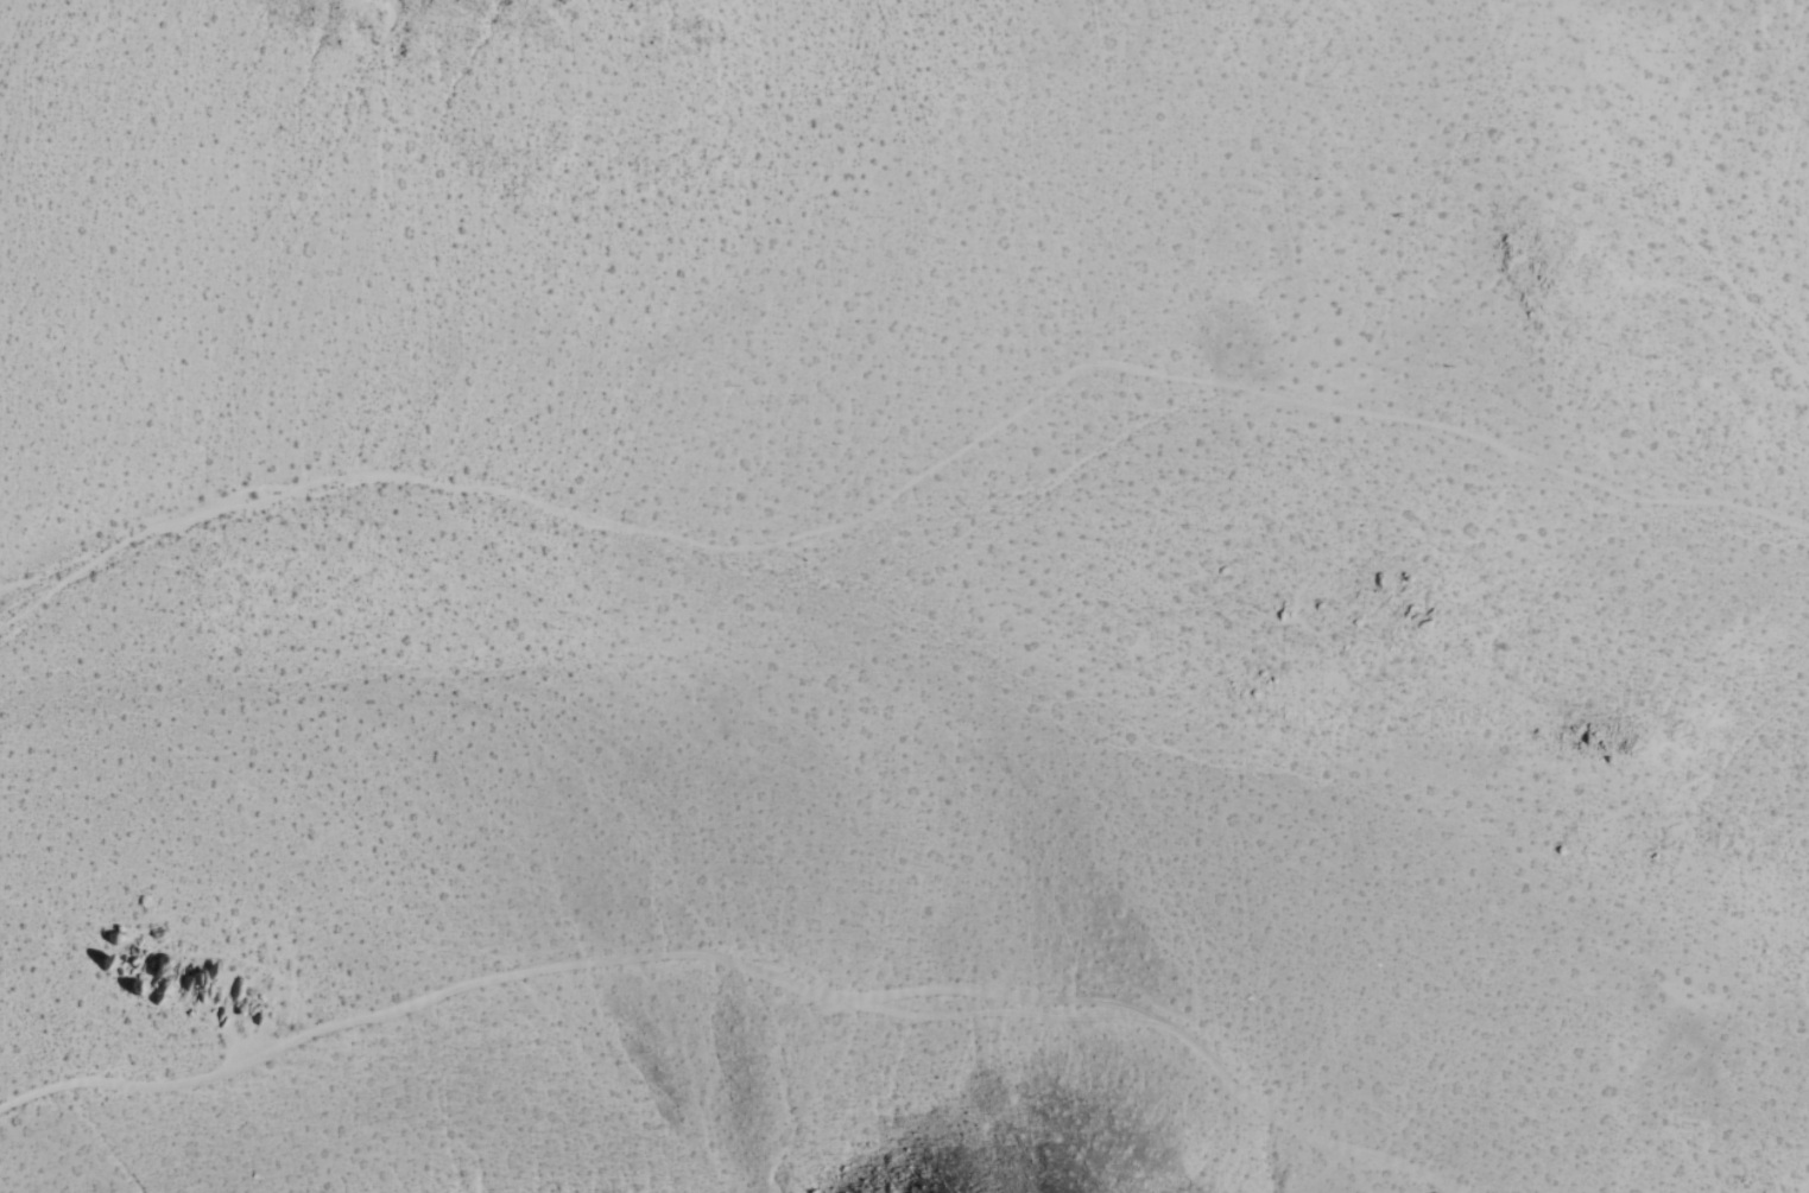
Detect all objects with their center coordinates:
road: (782, 973)

